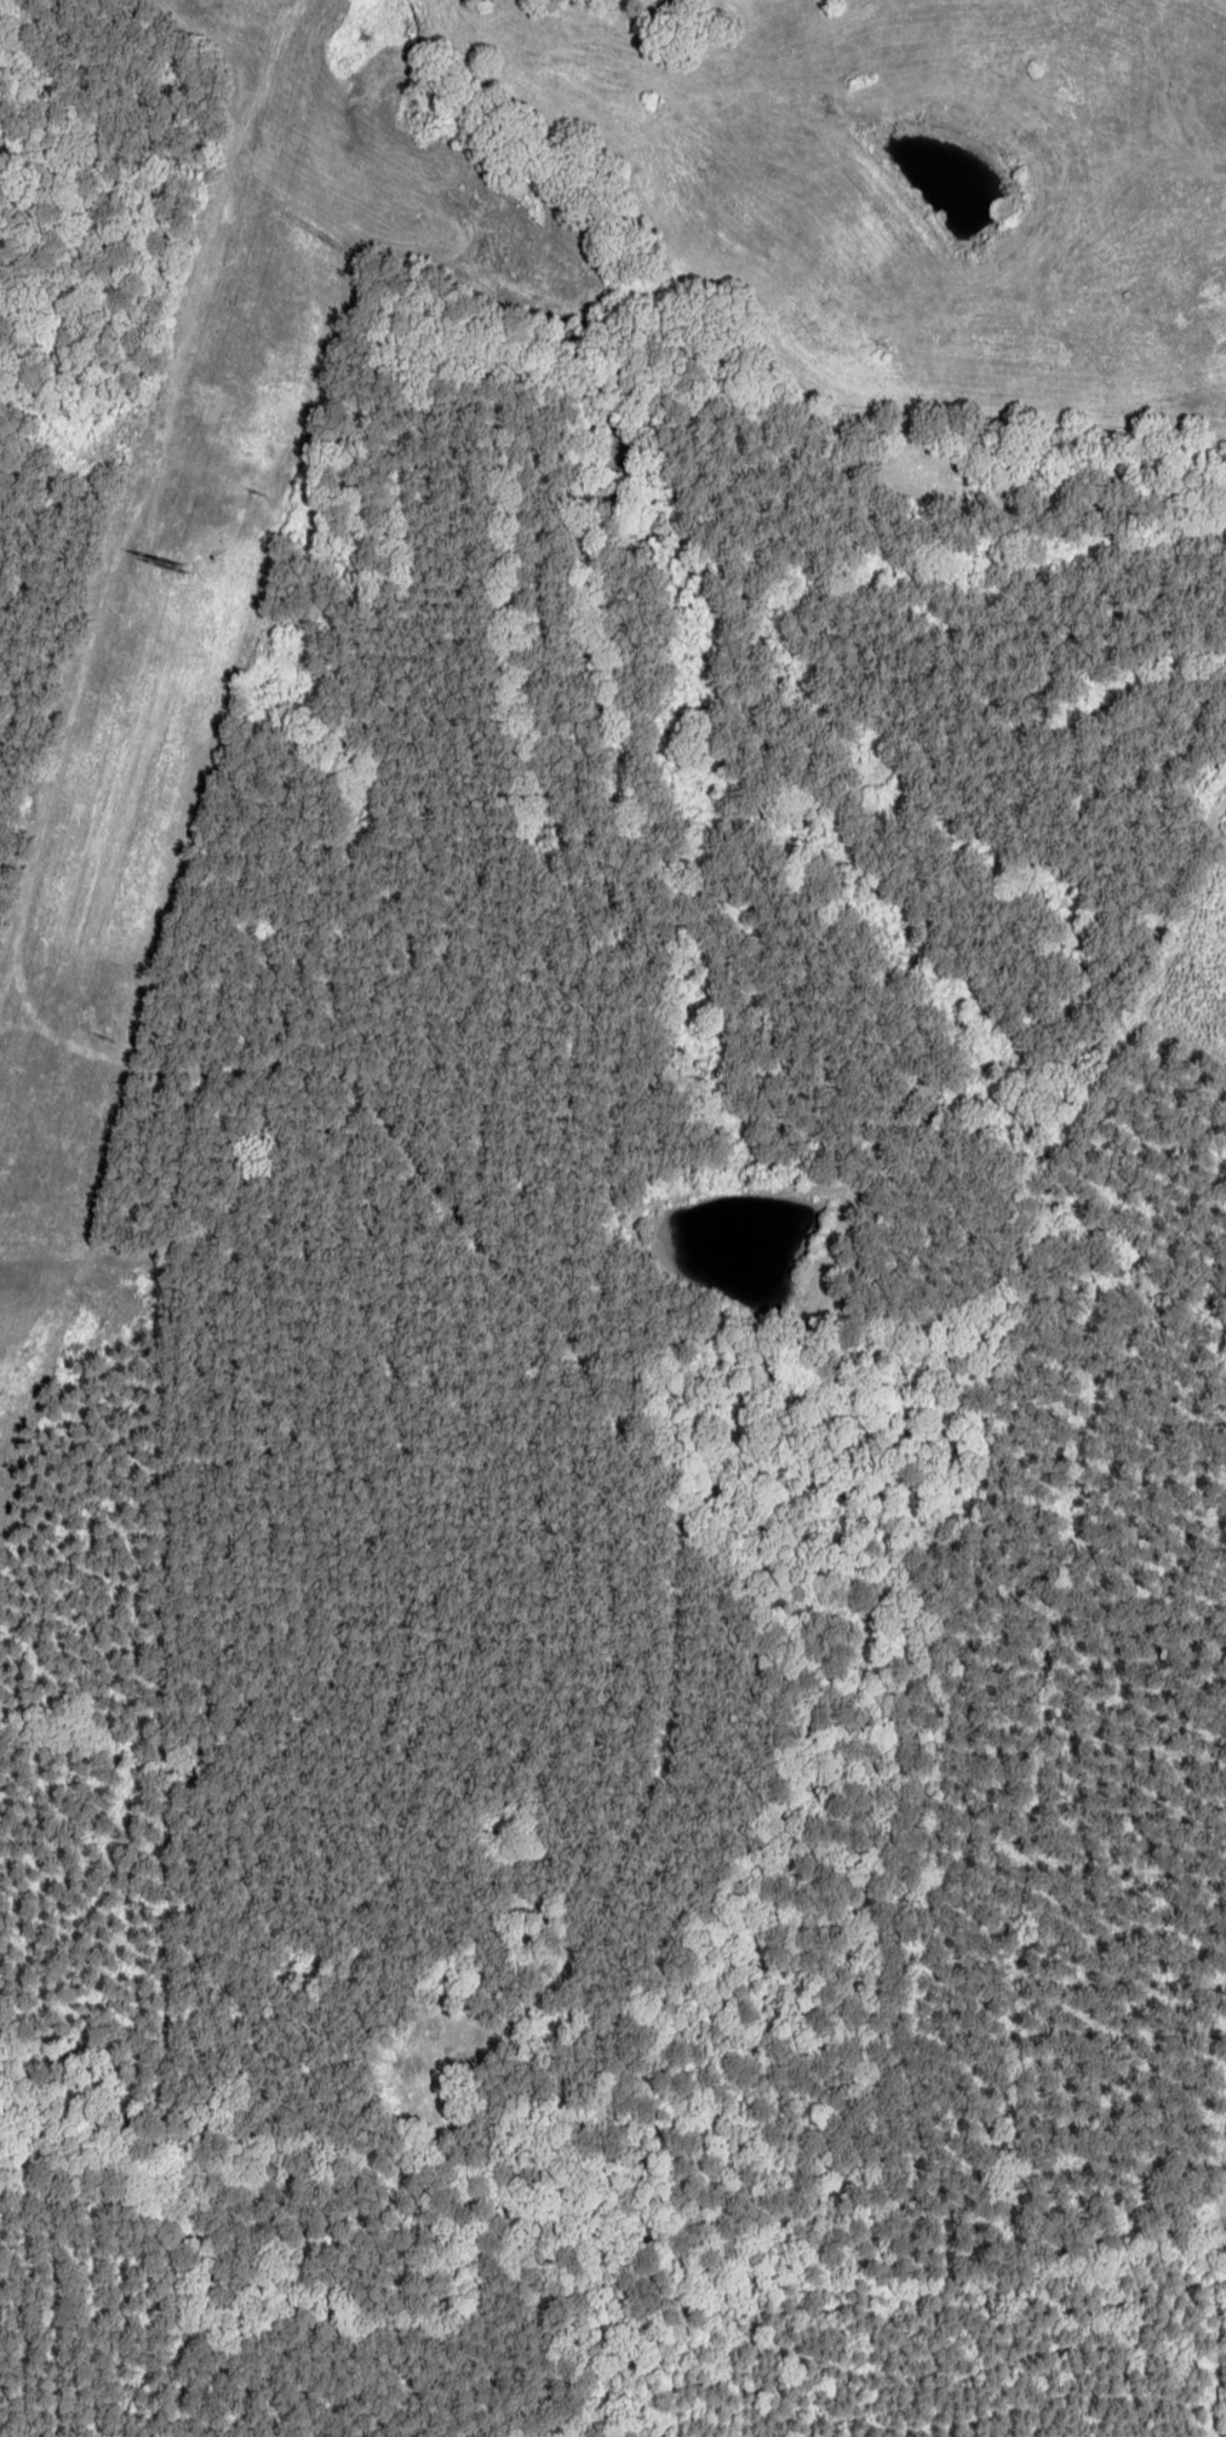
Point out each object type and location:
power tower: (165, 556)

